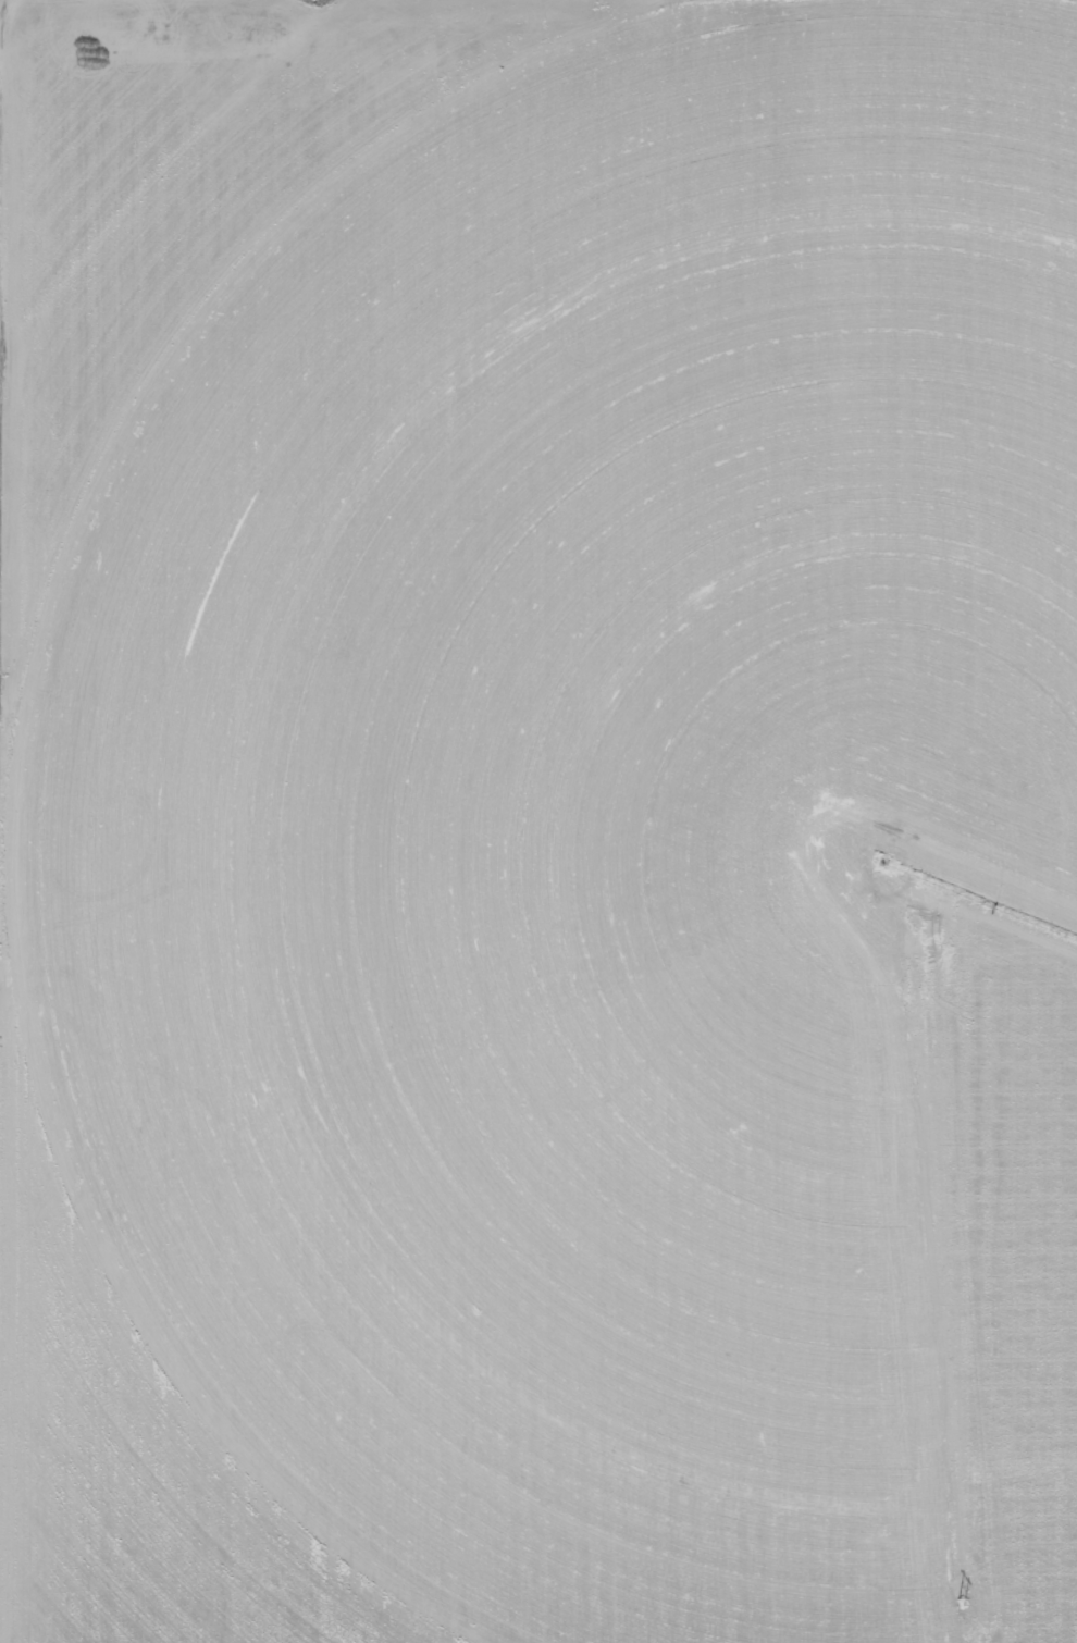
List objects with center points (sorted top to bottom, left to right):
power tower: (960, 1601)

